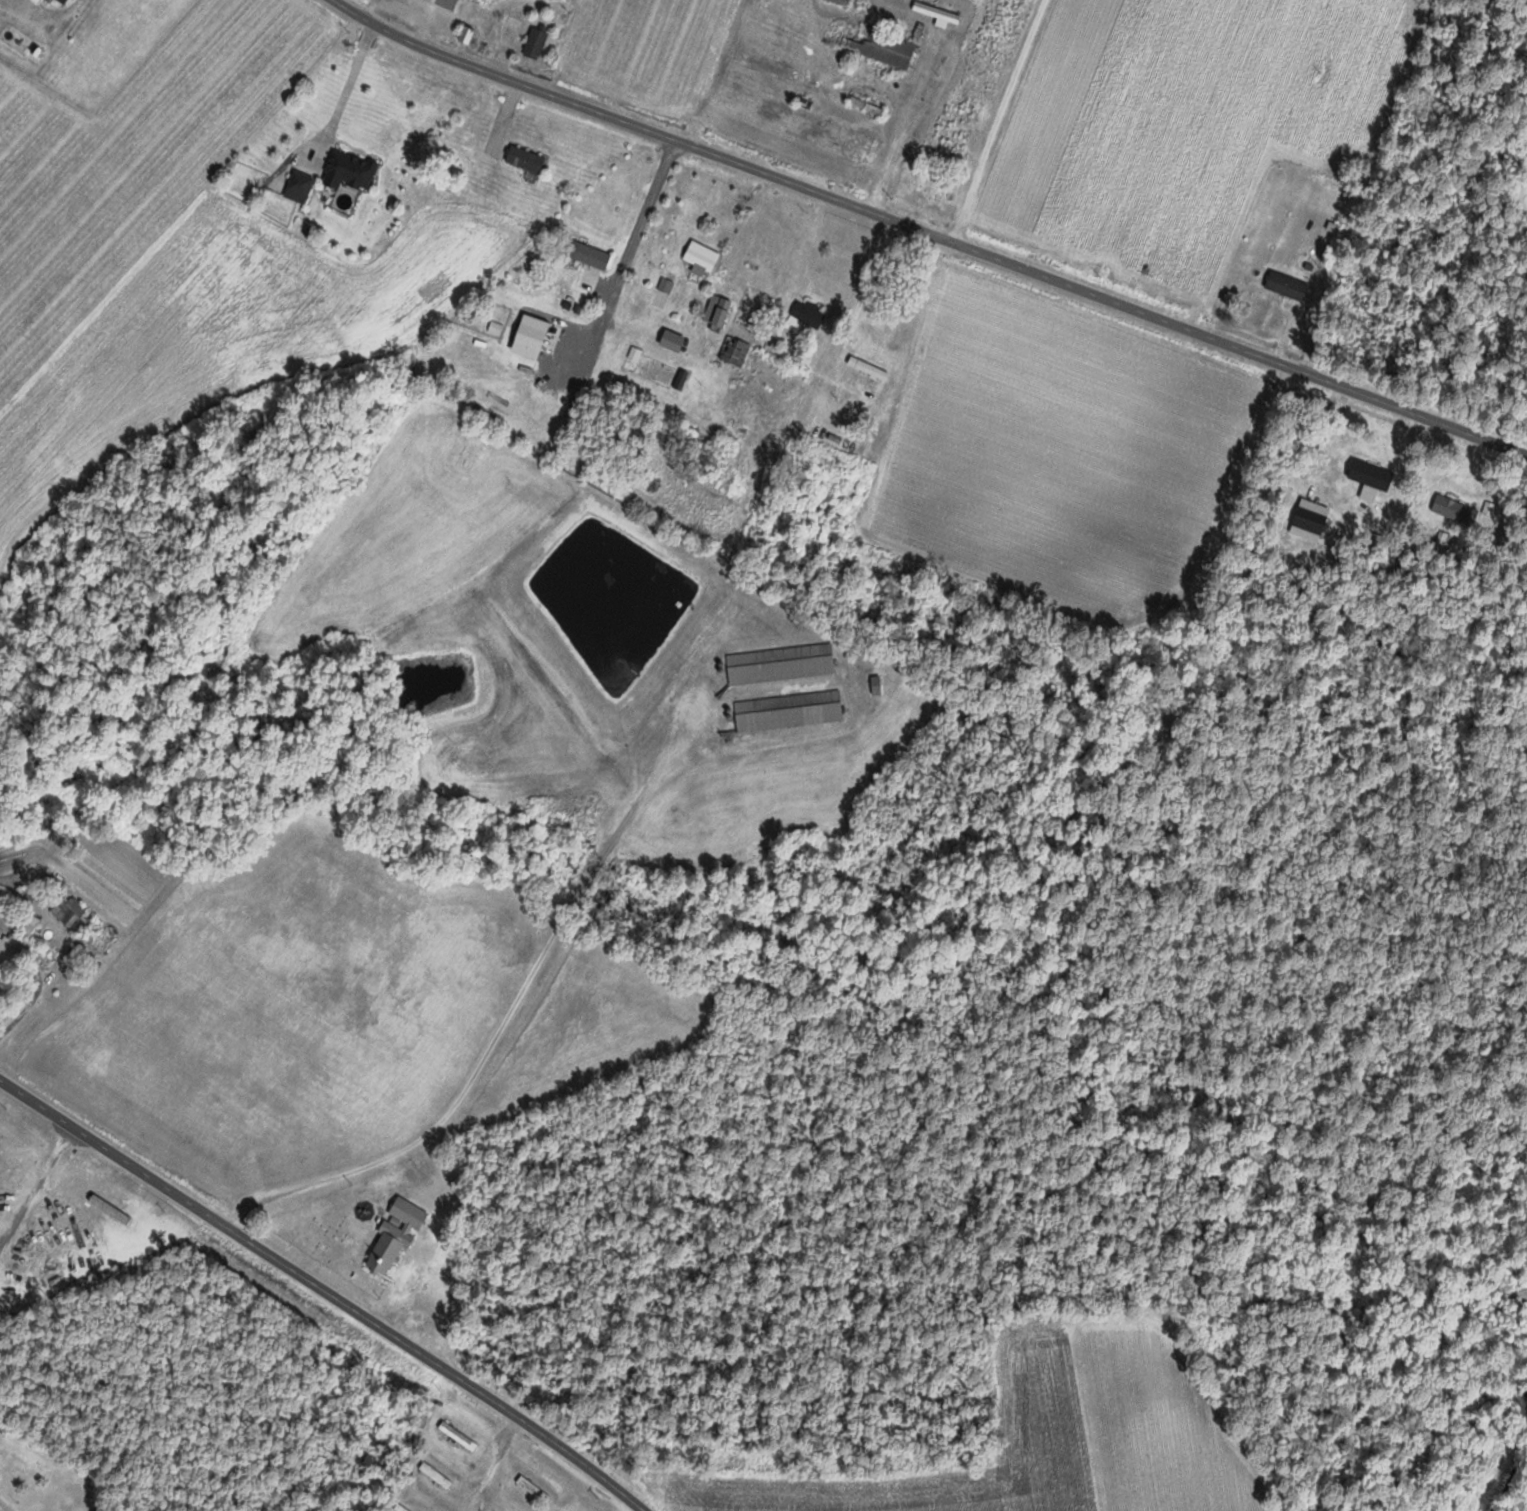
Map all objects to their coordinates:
building: (446, 3)
building: (938, 12)
building: (514, 25)
building: (537, 42)
building: (879, 46)
building: (808, 102)
building: (868, 106)
building: (873, 149)
building: (526, 158)
building: (350, 170)
road: (1419, 197)
road: (931, 230)
road: (632, 254)
building: (590, 255)
building: (702, 258)
building: (1288, 285)
building: (719, 310)
building: (807, 315)
building: (532, 336)
building: (674, 341)
building: (735, 350)
road: (1327, 429)
road: (1406, 465)
building: (1372, 468)
building: (1454, 508)
building: (782, 664)
building: (790, 711)
building: (27, 897)
building: (73, 913)
building: (13, 951)
building: (396, 1236)
road: (327, 1289)
building: (458, 1436)
road: (494, 1460)
building: (436, 1475)
building: (533, 1489)
building: (401, 1508)

